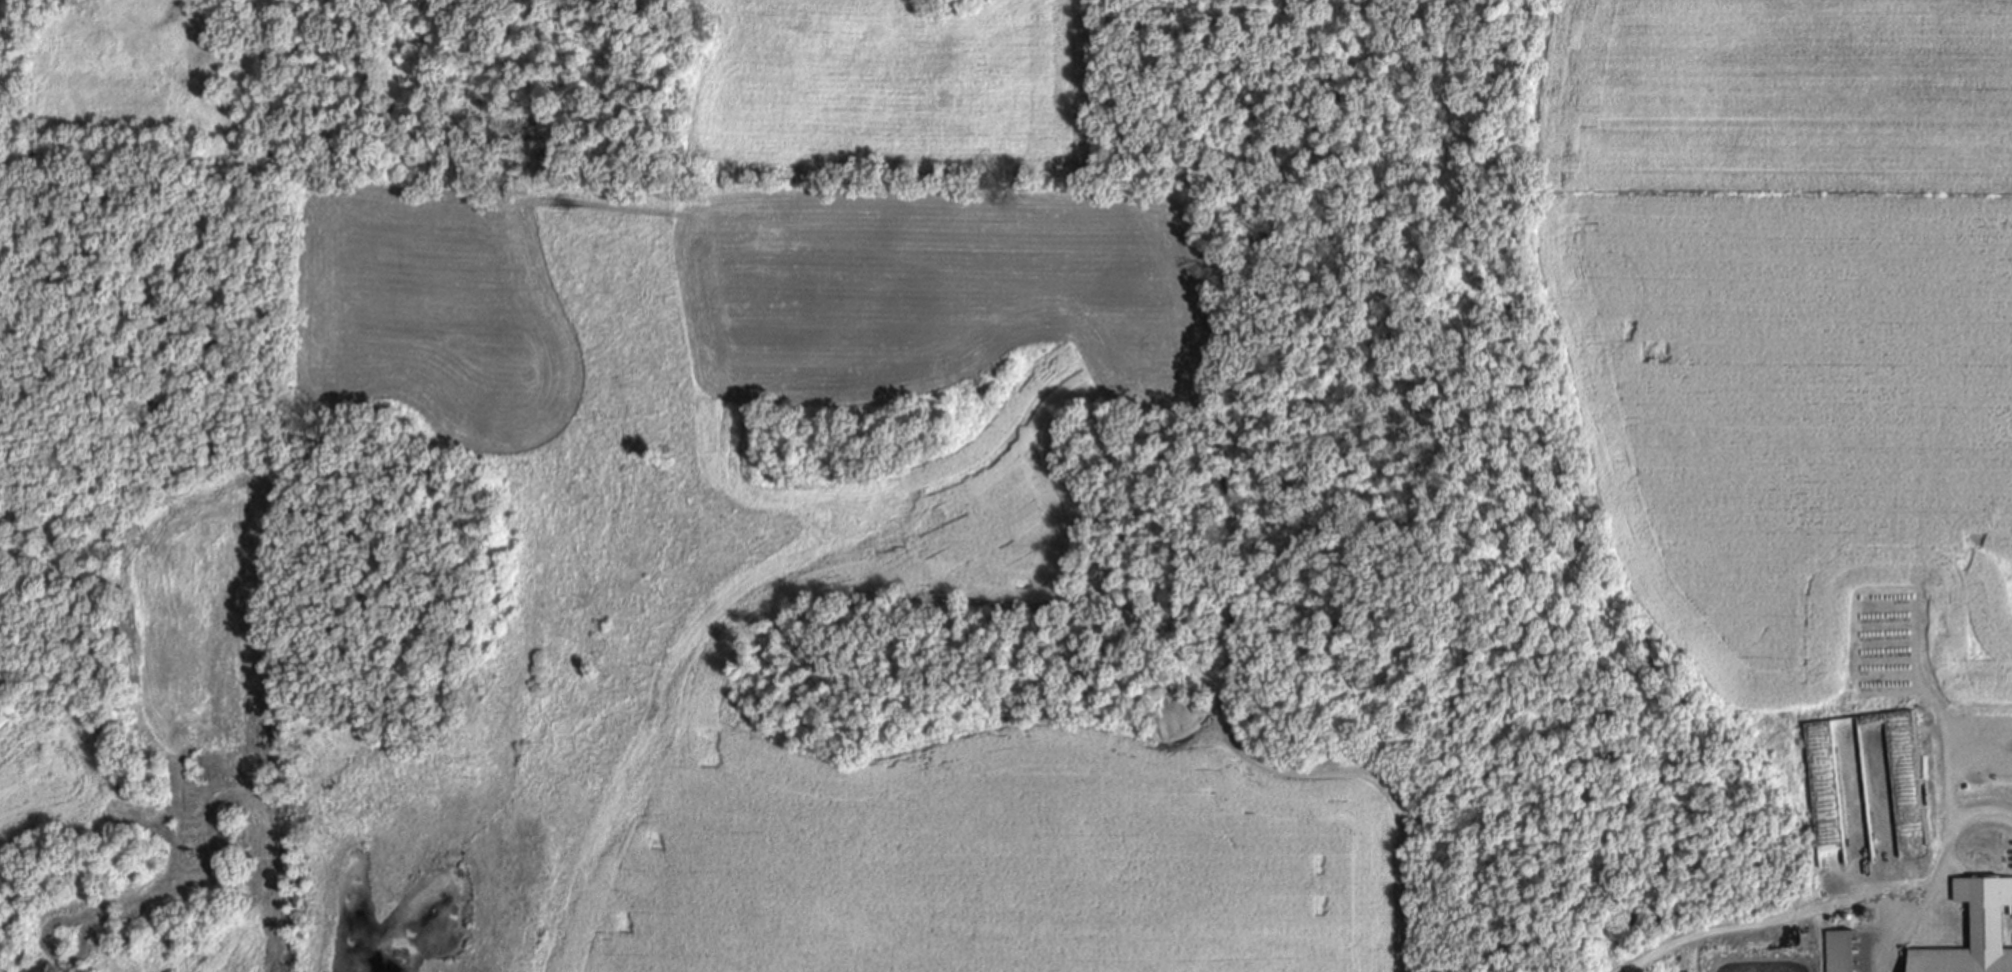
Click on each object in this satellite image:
building: (1877, 764)
building: (1974, 930)
building: (1843, 950)

